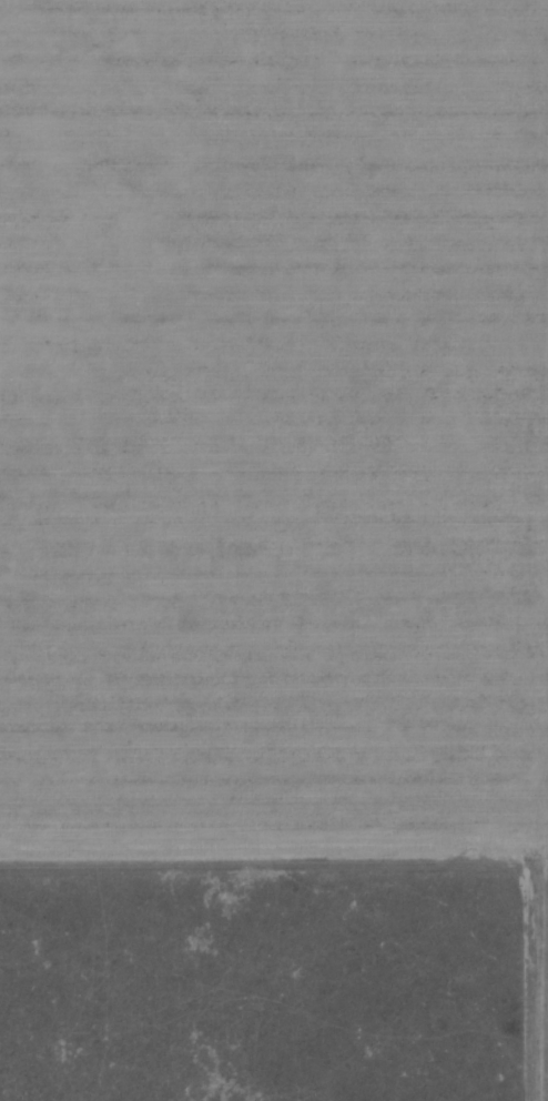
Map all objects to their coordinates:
road: (274, 903)

